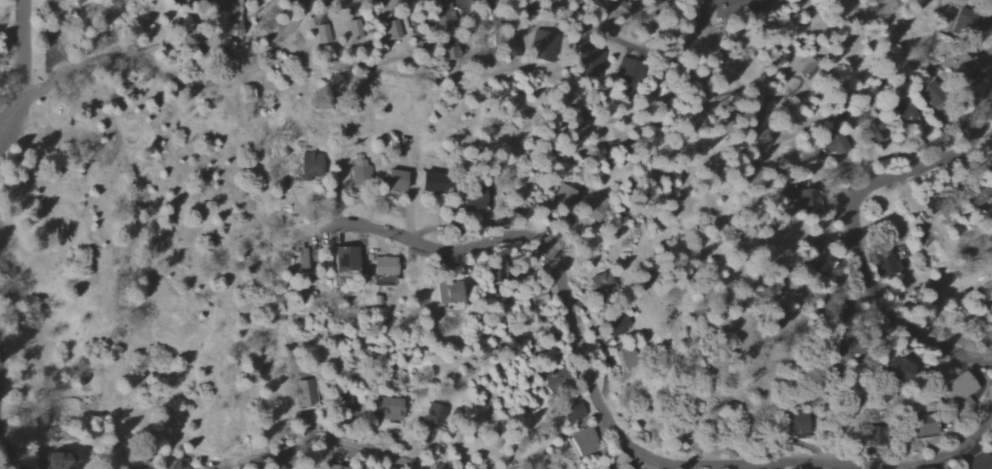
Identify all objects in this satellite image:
building: (983, 0)
building: (741, 7)
building: (618, 8)
road: (597, 12)
building: (221, 28)
building: (352, 28)
building: (391, 29)
building: (320, 33)
road: (620, 35)
parking lot: (51, 42)
building: (540, 44)
building: (445, 50)
road: (21, 62)
building: (585, 62)
road: (51, 66)
building: (956, 70)
building: (623, 71)
road: (558, 78)
road: (203, 82)
building: (903, 112)
parking lot: (53, 117)
building: (869, 132)
building: (308, 164)
building: (360, 169)
building: (393, 180)
building: (431, 182)
road: (868, 183)
road: (728, 191)
road: (410, 195)
building: (562, 197)
building: (597, 208)
building: (342, 259)
building: (885, 265)
building: (381, 270)
building: (601, 284)
building: (445, 292)
building: (536, 297)
road: (933, 305)
building: (451, 307)
road: (947, 344)
building: (627, 358)
building: (898, 367)
building: (553, 382)
building: (957, 392)
building: (307, 393)
road: (596, 402)
building: (583, 406)
building: (389, 409)
building: (427, 413)
building: (795, 423)
building: (916, 430)
road: (321, 436)
building: (582, 442)
road: (8, 453)
building: (620, 461)
building: (979, 461)
building: (333, 466)

